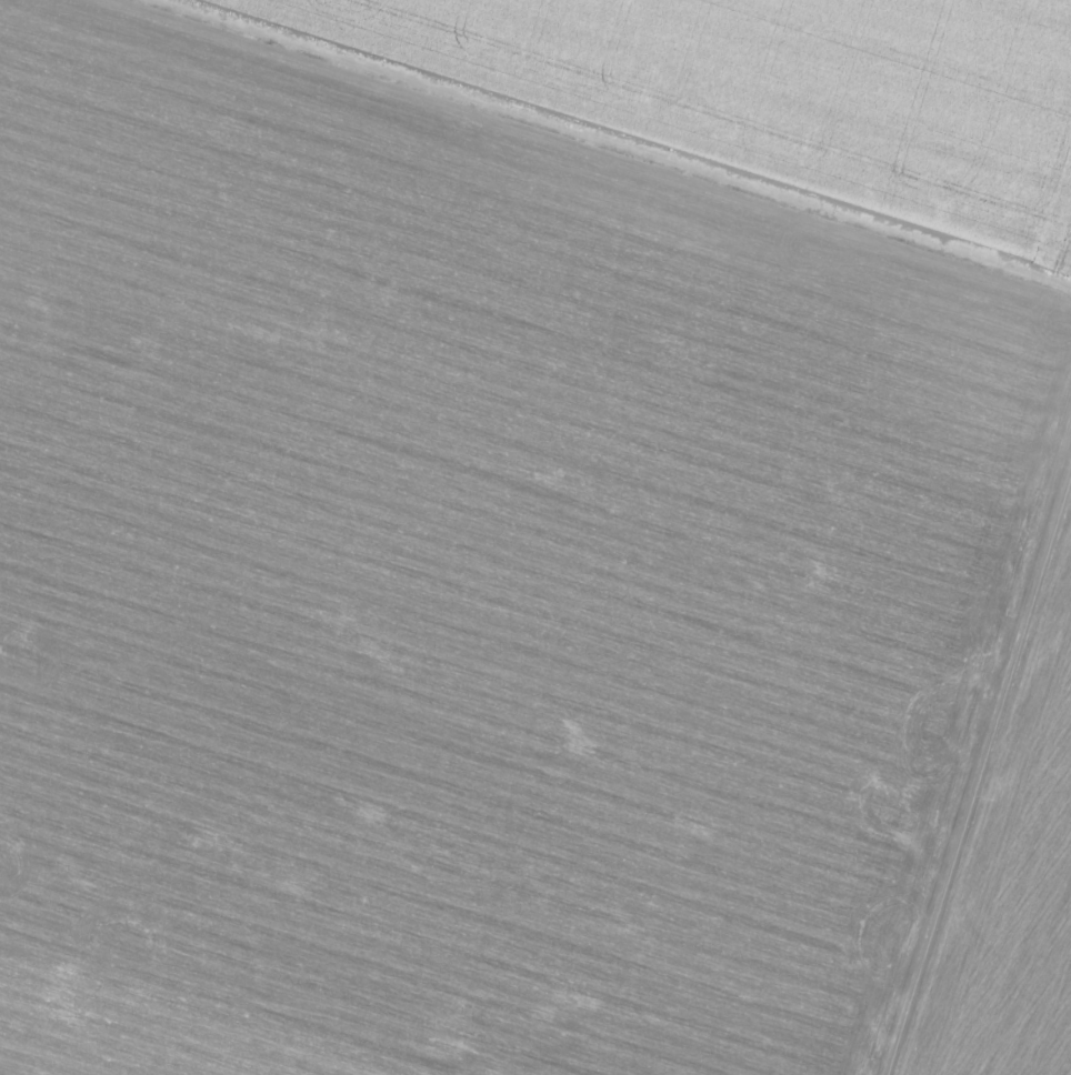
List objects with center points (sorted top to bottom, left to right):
road: (591, 147)
road: (981, 796)

